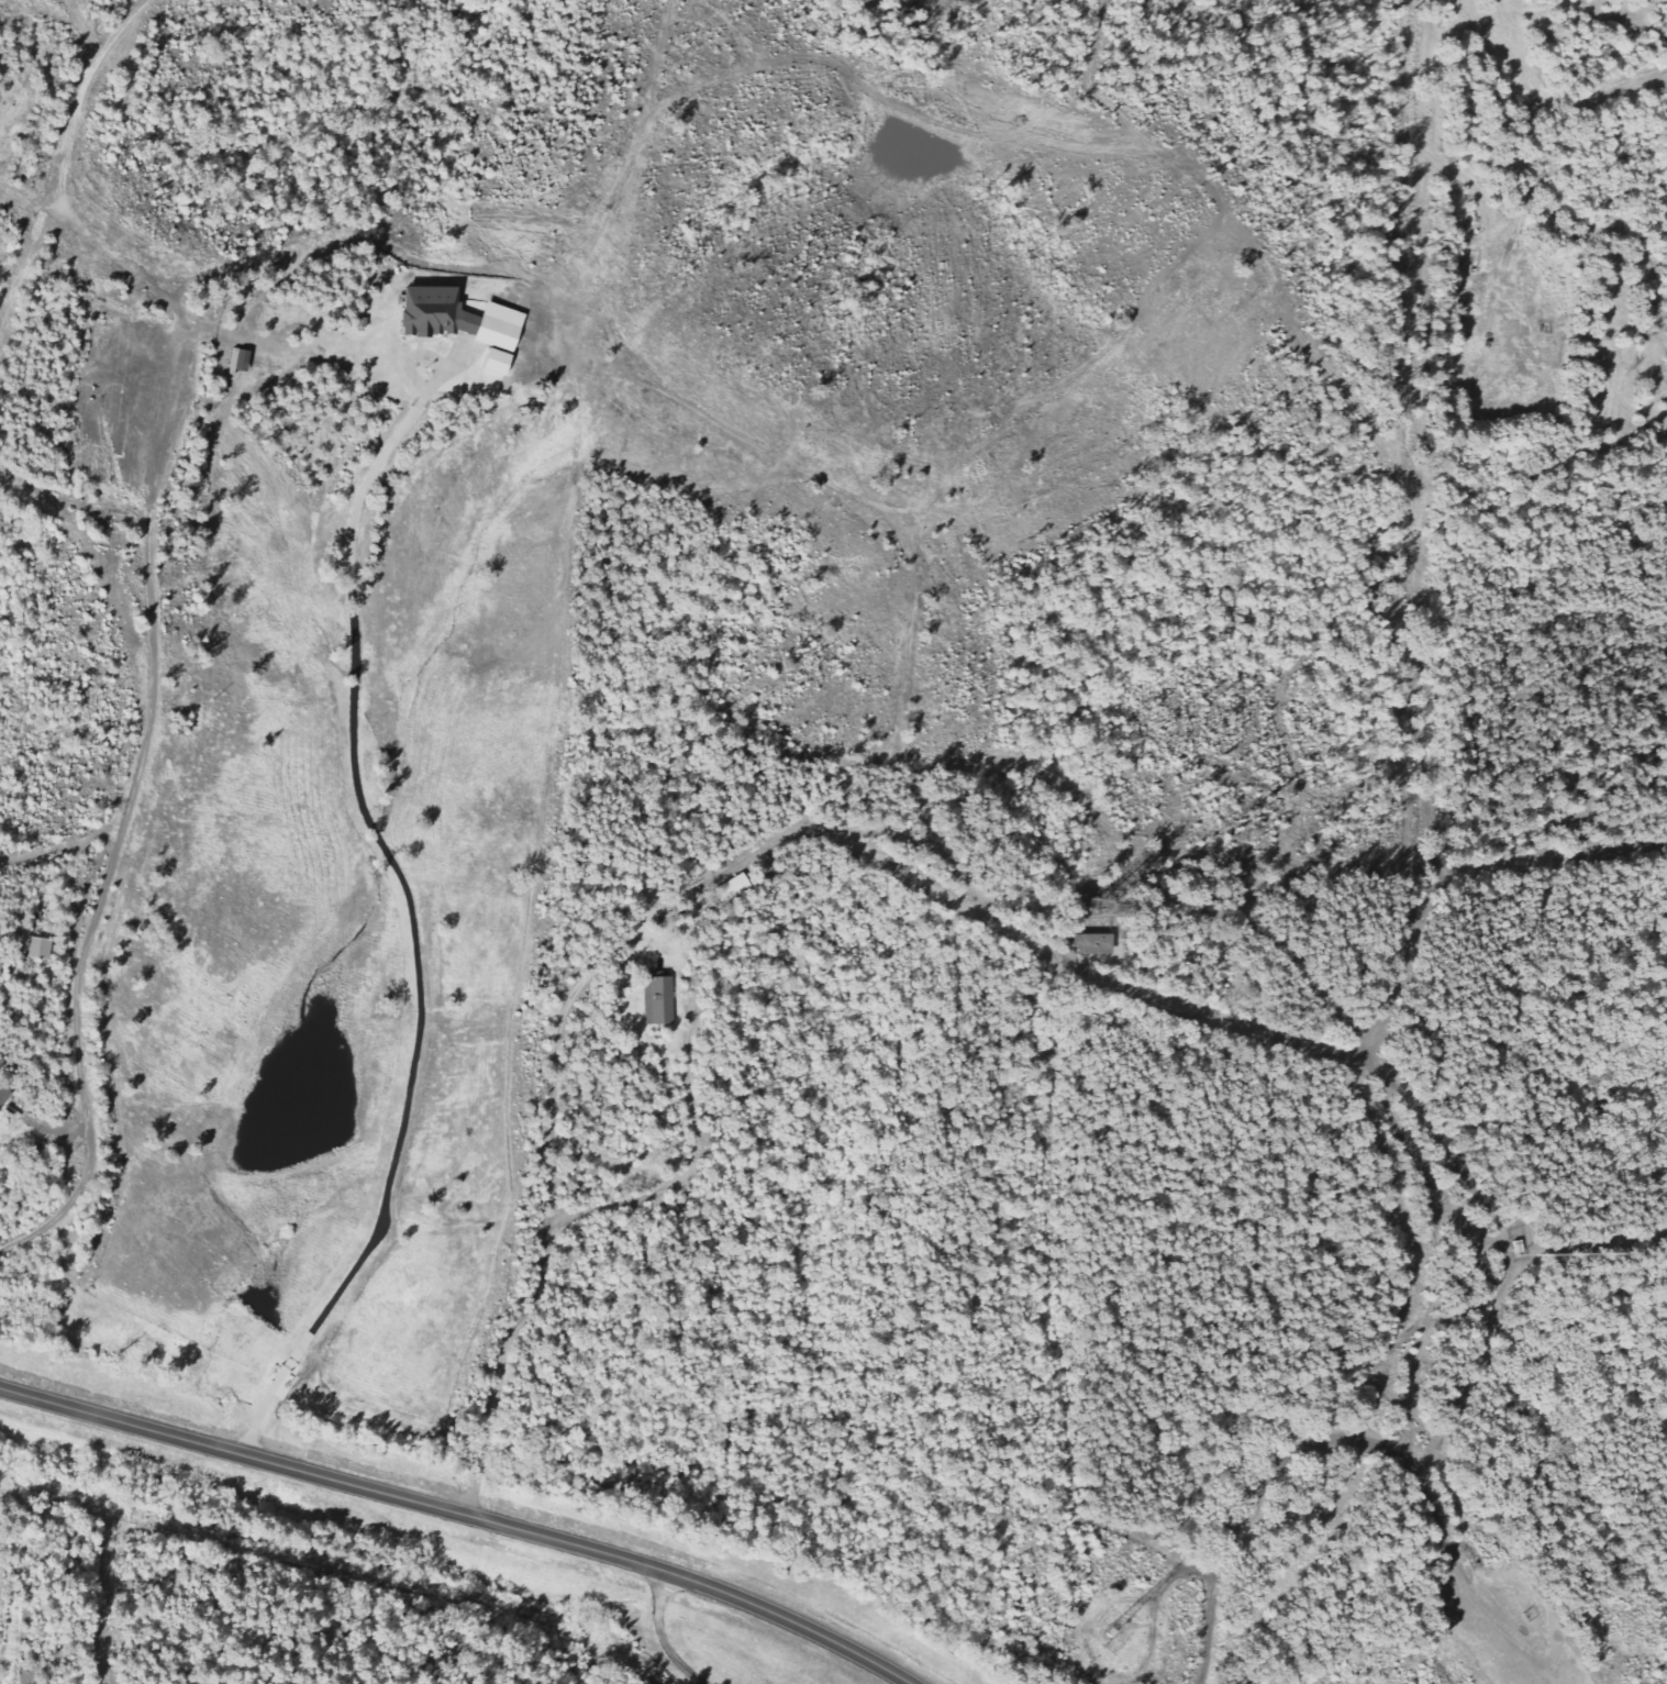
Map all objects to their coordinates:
building: (457, 318)
building: (238, 361)
building: (491, 363)
road: (159, 429)
building: (736, 887)
road: (100, 901)
building: (1097, 908)
building: (1090, 943)
building: (44, 948)
building: (662, 1000)
building: (5, 1097)
road: (1410, 1152)
building: (1523, 1241)
road: (1457, 1316)
road: (1400, 1410)
road: (1423, 1487)
road: (463, 1514)
road: (1216, 1566)
road: (660, 1635)

